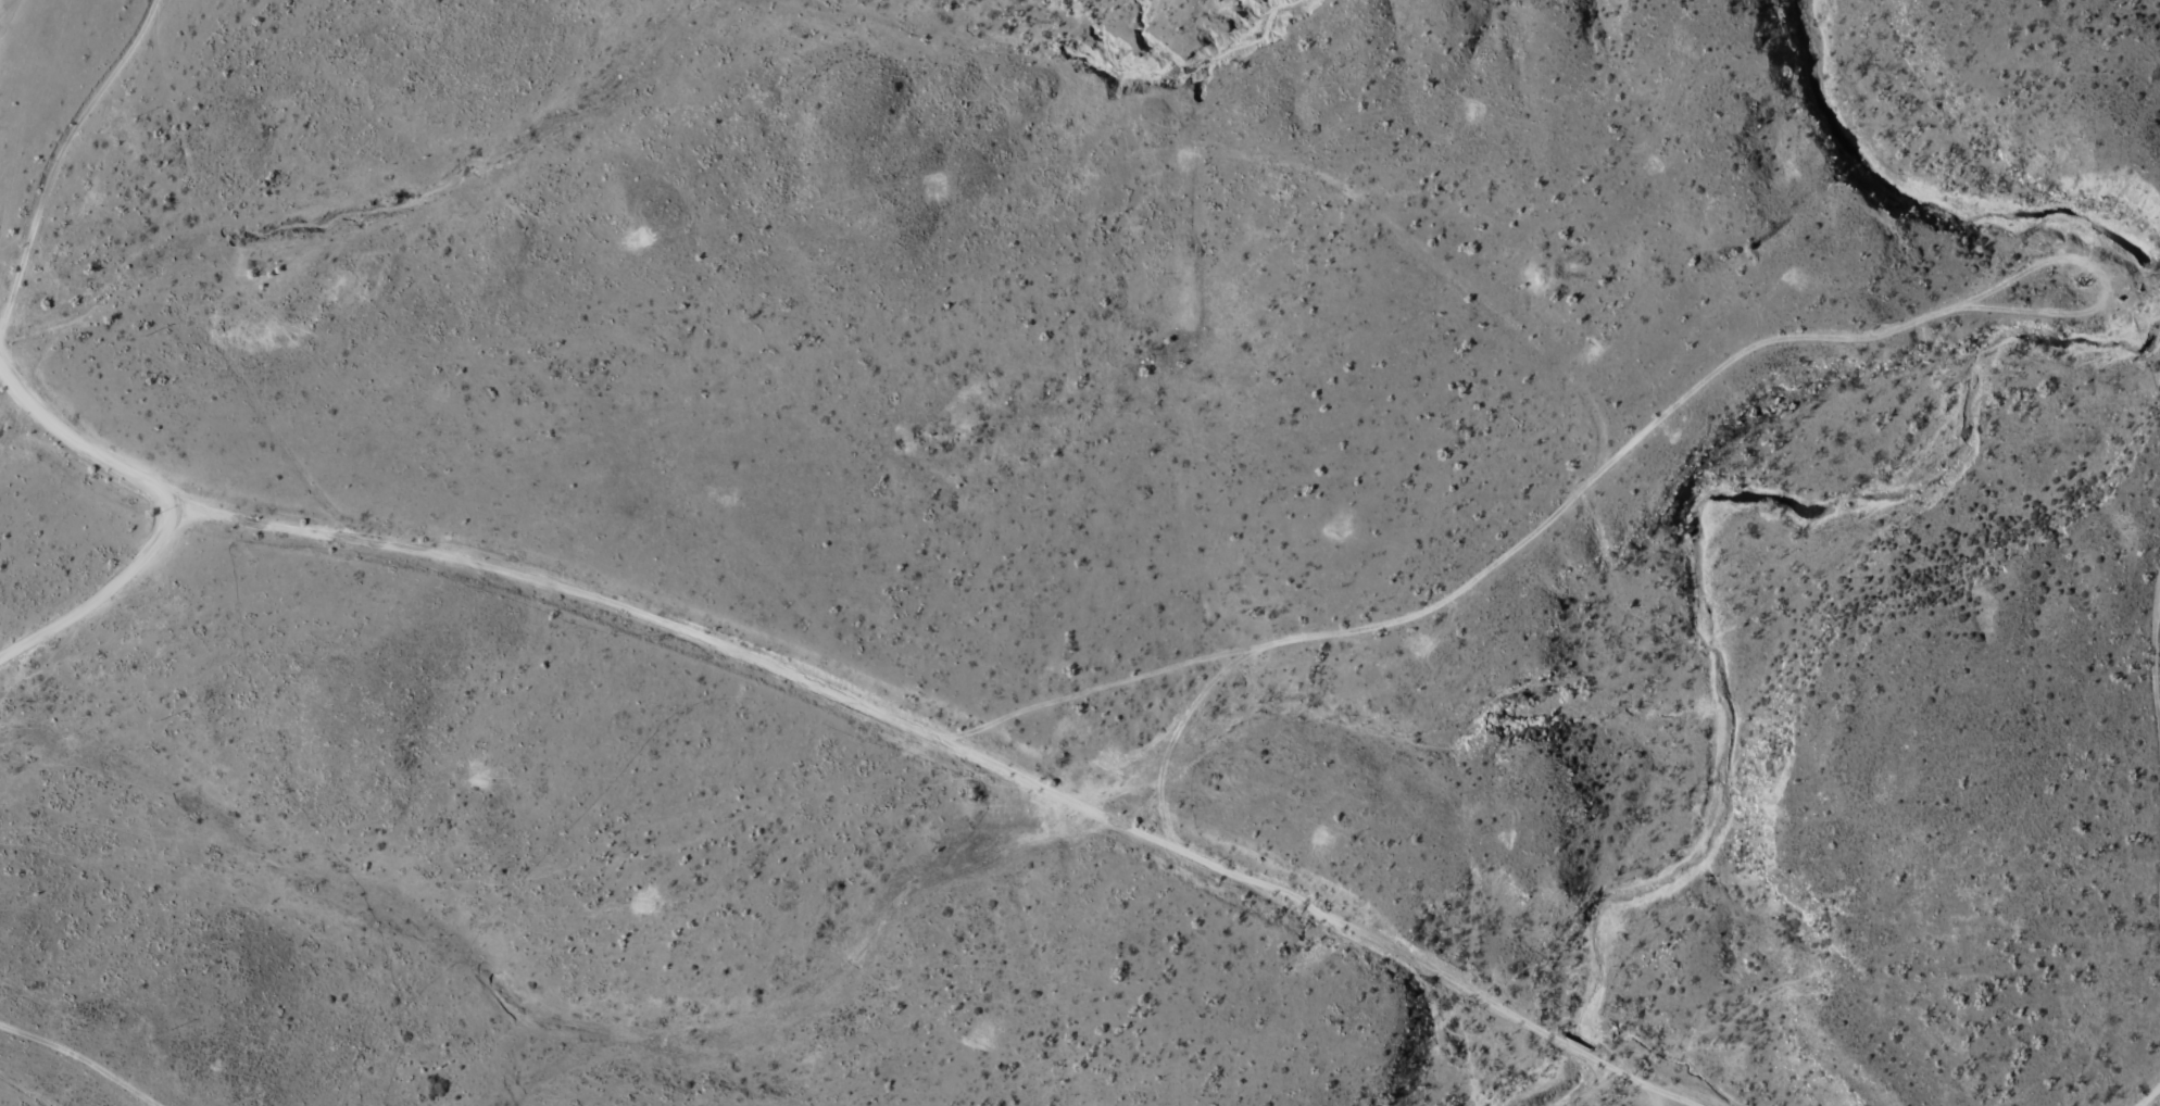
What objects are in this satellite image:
road: (2152, 1101)

